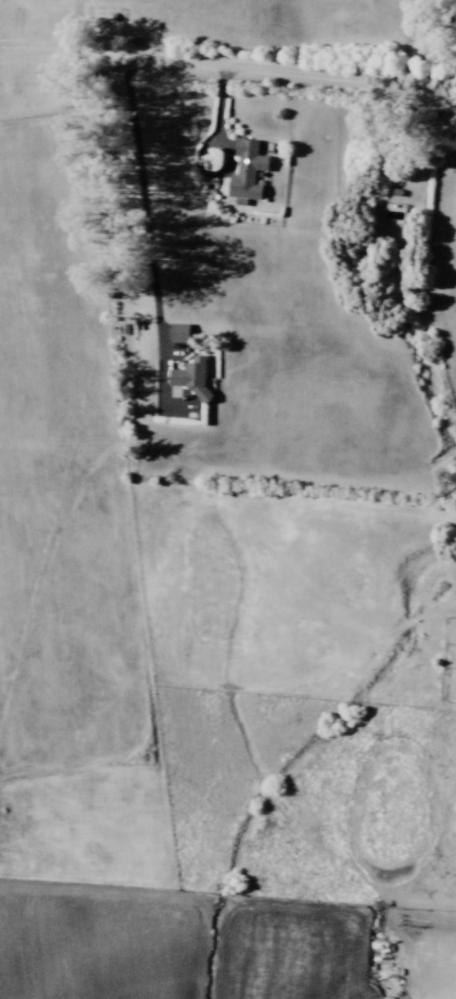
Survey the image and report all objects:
road: (417, 40)
road: (228, 58)
building: (247, 171)
road: (144, 224)
building: (180, 332)
building: (192, 376)

